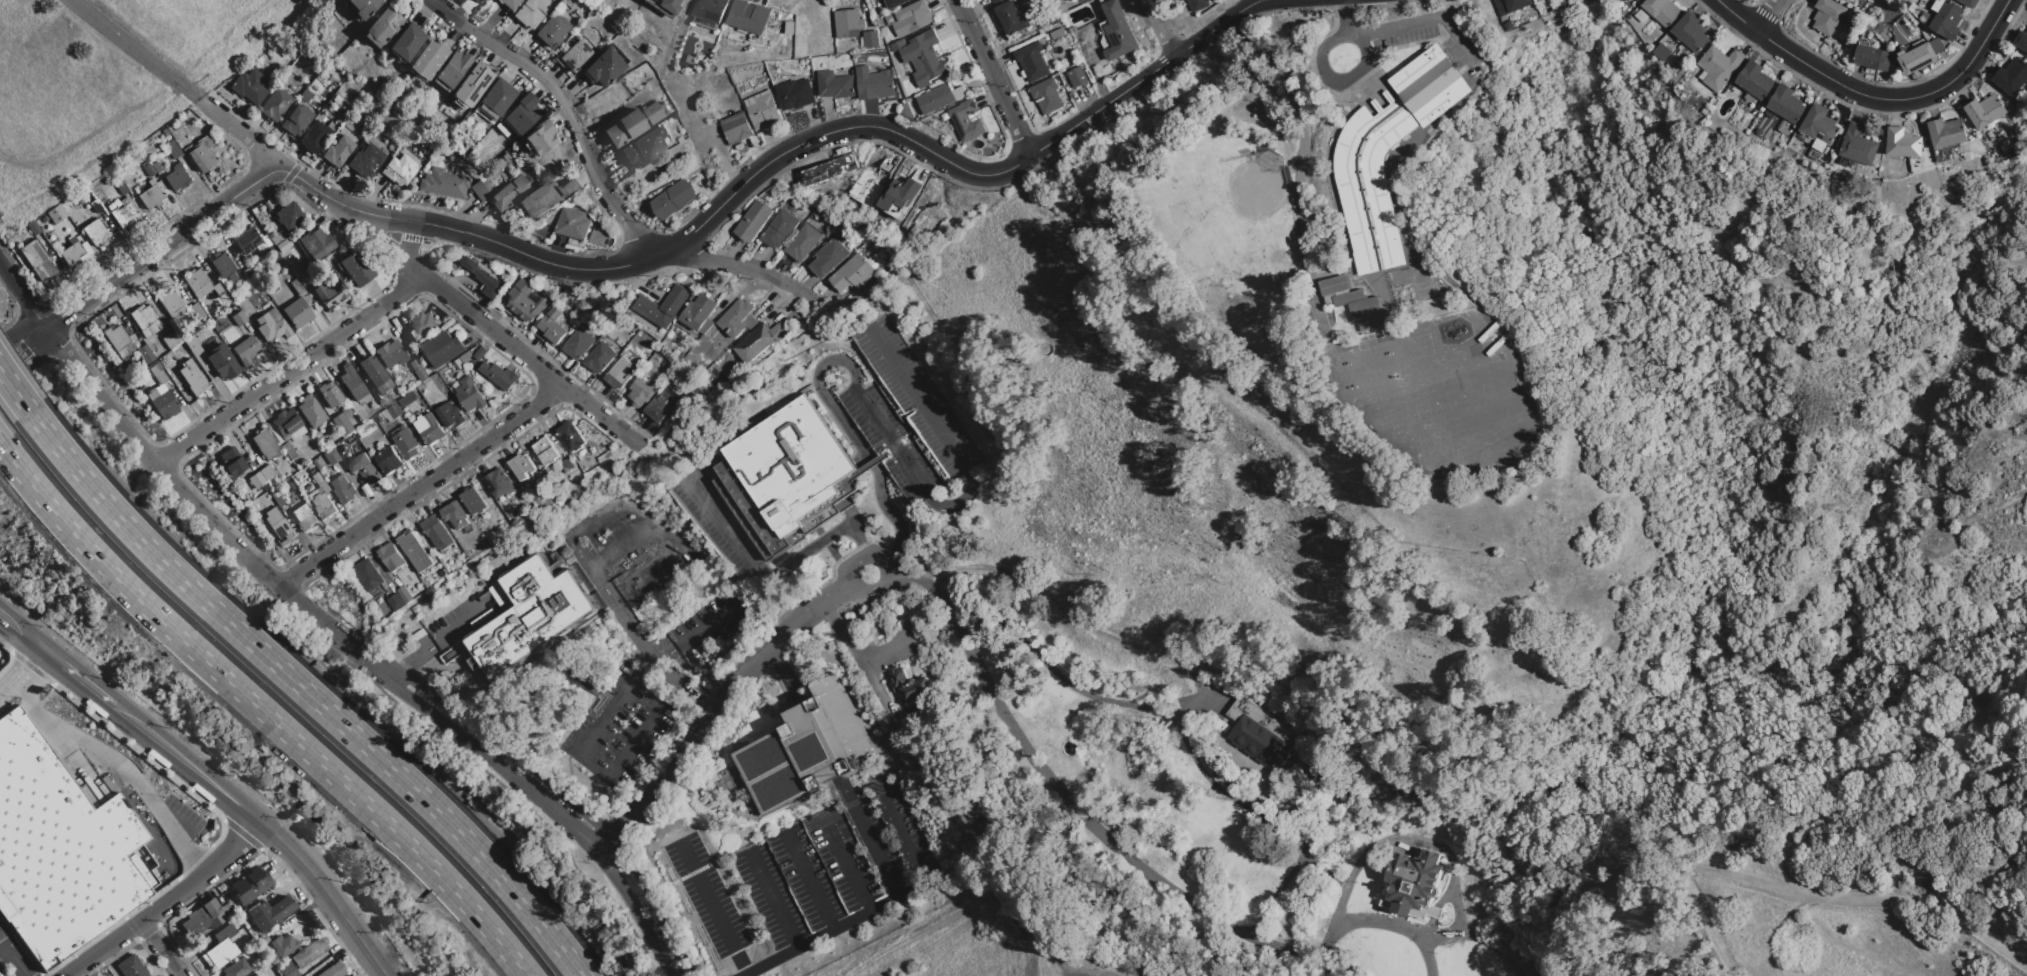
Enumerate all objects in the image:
building: (1181, 0)
building: (1538, 0)
building: (1637, 0)
building: (478, 1)
building: (1078, 1)
building: (509, 3)
building: (1969, 3)
building: (895, 4)
building: (1197, 4)
building: (1512, 5)
building: (1938, 5)
building: (667, 6)
building: (363, 7)
building: (712, 10)
building: (1662, 11)
building: (530, 12)
building: (774, 13)
building: (1642, 15)
building: (1827, 15)
building: (1010, 16)
road: (1767, 16)
building: (749, 17)
building: (910, 19)
building: (1945, 20)
road: (1418, 22)
building: (848, 23)
building: (1510, 25)
building: (382, 28)
road: (1161, 28)
building: (551, 30)
building: (1118, 31)
building: (1691, 32)
building: (871, 40)
building: (2021, 40)
building: (406, 42)
building: (1918, 43)
road: (134, 49)
building: (1663, 52)
building: (1903, 53)
building: (575, 55)
building: (1872, 56)
building: (1921, 56)
building: (922, 57)
building: (427, 59)
building: (1032, 62)
building: (1719, 67)
building: (452, 68)
building: (604, 68)
road: (1359, 68)
building: (2011, 76)
road: (992, 77)
building: (1076, 77)
building: (1754, 80)
park: (112, 81)
building: (874, 84)
building: (471, 85)
building: (835, 85)
building: (249, 86)
building: (795, 94)
building: (304, 96)
building: (1047, 96)
road: (1872, 96)
building: (498, 97)
building: (939, 98)
building: (336, 99)
building: (1751, 102)
building: (275, 104)
building: (1786, 104)
road: (615, 111)
building: (1984, 111)
building: (764, 112)
building: (1705, 112)
building: (522, 113)
building: (295, 120)
building: (966, 121)
building: (631, 123)
building: (331, 125)
building: (1820, 125)
building: (736, 128)
road: (239, 131)
building: (164, 132)
building: (1947, 132)
building: (315, 137)
building: (538, 138)
building: (1903, 143)
building: (1821, 145)
building: (1858, 145)
road: (794, 146)
building: (643, 147)
building: (172, 149)
building: (337, 150)
building: (201, 154)
building: (365, 160)
building: (1365, 166)
building: (155, 167)
road: (1299, 168)
building: (147, 169)
building: (399, 169)
building: (831, 170)
road: (295, 176)
building: (177, 177)
building: (443, 183)
building: (122, 187)
building: (569, 187)
building: (482, 189)
road: (603, 189)
building: (511, 193)
building: (151, 195)
building: (900, 198)
building: (674, 199)
building: (544, 200)
building: (95, 206)
building: (123, 213)
building: (56, 214)
building: (288, 215)
building: (44, 218)
park: (1205, 218)
building: (753, 221)
building: (572, 223)
road: (359, 226)
building: (33, 227)
building: (779, 230)
building: (96, 233)
building: (597, 239)
building: (248, 240)
building: (266, 240)
road: (410, 240)
building: (281, 241)
building: (316, 243)
building: (802, 243)
road: (162, 244)
building: (272, 251)
building: (72, 252)
building: (829, 258)
building: (37, 259)
building: (875, 262)
building: (471, 263)
building: (223, 265)
building: (355, 267)
building: (248, 272)
building: (302, 272)
building: (852, 274)
building: (489, 281)
building: (197, 282)
building: (254, 283)
building: (218, 289)
building: (329, 291)
building: (301, 293)
road: (22, 294)
building: (525, 302)
building: (171, 303)
building: (1354, 303)
building: (140, 307)
building: (663, 307)
building: (197, 311)
building: (297, 312)
building: (274, 314)
building: (700, 314)
building: (238, 318)
building: (735, 318)
building: (146, 320)
building: (422, 326)
building: (553, 326)
building: (271, 327)
road: (20, 332)
building: (117, 337)
building: (172, 339)
building: (760, 341)
building: (579, 344)
building: (443, 349)
building: (244, 350)
building: (122, 352)
building: (197, 352)
building: (145, 354)
building: (390, 354)
building: (481, 354)
road: (523, 355)
road: (28, 357)
building: (466, 357)
building: (599, 358)
building: (222, 362)
building: (458, 365)
building: (156, 369)
road: (289, 370)
building: (418, 370)
building: (376, 375)
building: (500, 375)
building: (619, 375)
building: (163, 376)
building: (192, 377)
building: (353, 384)
building: (160, 388)
building: (420, 388)
road: (15, 390)
building: (639, 393)
building: (330, 394)
building: (471, 395)
building: (675, 396)
building: (407, 400)
building: (162, 403)
building: (353, 404)
building: (660, 407)
building: (311, 411)
building: (395, 411)
building: (451, 415)
building: (343, 421)
building: (288, 425)
road: (877, 425)
building: (370, 428)
building: (429, 429)
building: (571, 436)
building: (405, 442)
building: (265, 444)
building: (288, 449)
building: (546, 451)
building: (611, 457)
building: (388, 460)
building: (231, 461)
building: (315, 464)
building: (792, 464)
building: (568, 466)
building: (523, 467)
building: (364, 469)
building: (266, 472)
building: (255, 480)
building: (499, 483)
road: (421, 488)
building: (342, 490)
building: (321, 498)
building: (278, 499)
building: (473, 501)
building: (252, 506)
road: (202, 516)
building: (305, 516)
building: (455, 516)
building: (279, 526)
building: (437, 533)
road: (665, 543)
building: (414, 551)
building: (457, 551)
building: (391, 557)
road: (882, 568)
building: (368, 575)
road: (770, 576)
building: (405, 595)
building: (396, 602)
building: (531, 616)
road: (620, 617)
road: (8, 623)
road: (1078, 623)
road: (436, 643)
road: (855, 650)
road: (63, 667)
road: (784, 672)
road: (22, 674)
building: (908, 685)
road: (307, 692)
road: (716, 706)
road: (261, 712)
road: (126, 717)
building: (1261, 734)
road: (587, 740)
road: (162, 746)
building: (806, 749)
road: (508, 752)
road: (118, 768)
road: (499, 771)
road: (219, 791)
road: (1231, 798)
building: (988, 828)
road: (904, 840)
road: (1108, 843)
building: (61, 849)
road: (878, 852)
parking lot: (837, 858)
road: (848, 867)
road: (810, 882)
building: (1413, 884)
building: (250, 885)
road: (327, 891)
road: (1802, 898)
road: (165, 901)
road: (773, 901)
road: (655, 910)
road: (713, 910)
building: (269, 912)
building: (202, 918)
road: (635, 919)
road: (844, 921)
road: (1393, 925)
building: (224, 932)
road: (1441, 936)
building: (261, 940)
building: (283, 945)
road: (162, 948)
road: (3, 949)
building: (309, 952)
building: (219, 953)
parking lot: (10, 956)
road: (13, 956)
building: (130, 967)
building: (236, 968)
building: (287, 969)
building: (267, 970)
building: (333, 970)
building: (100, 975)
building: (255, 975)
building: (349, 975)

